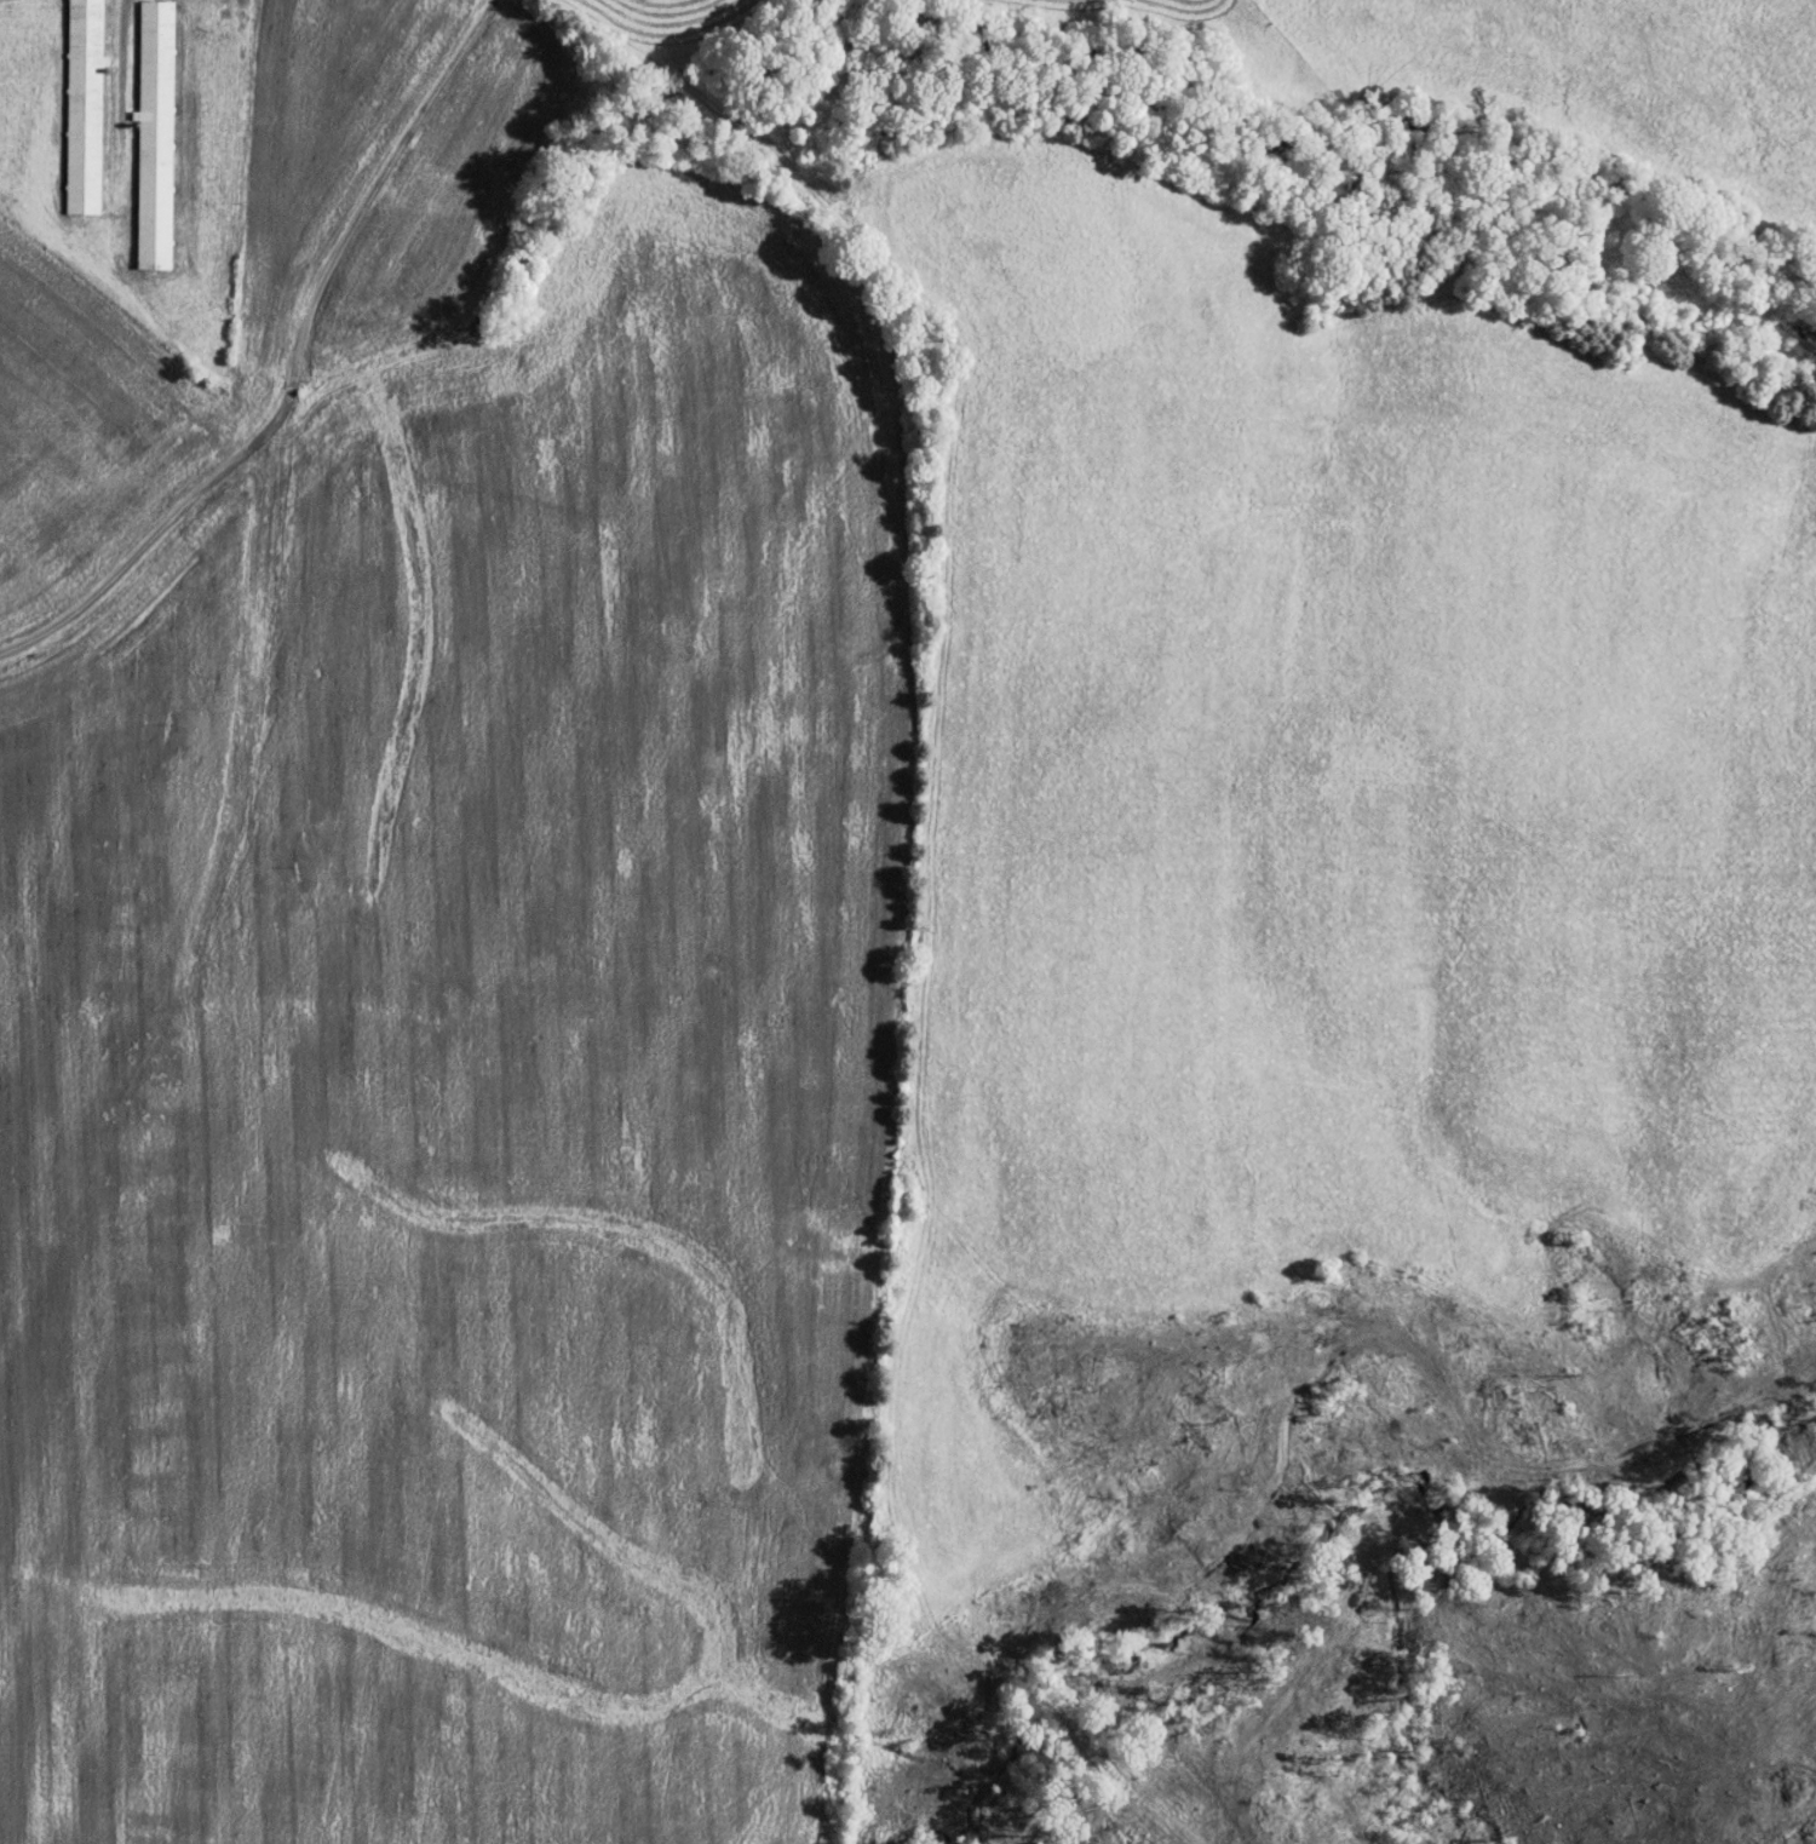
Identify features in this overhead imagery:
building: (81, 104)
building: (151, 133)
road: (297, 367)

